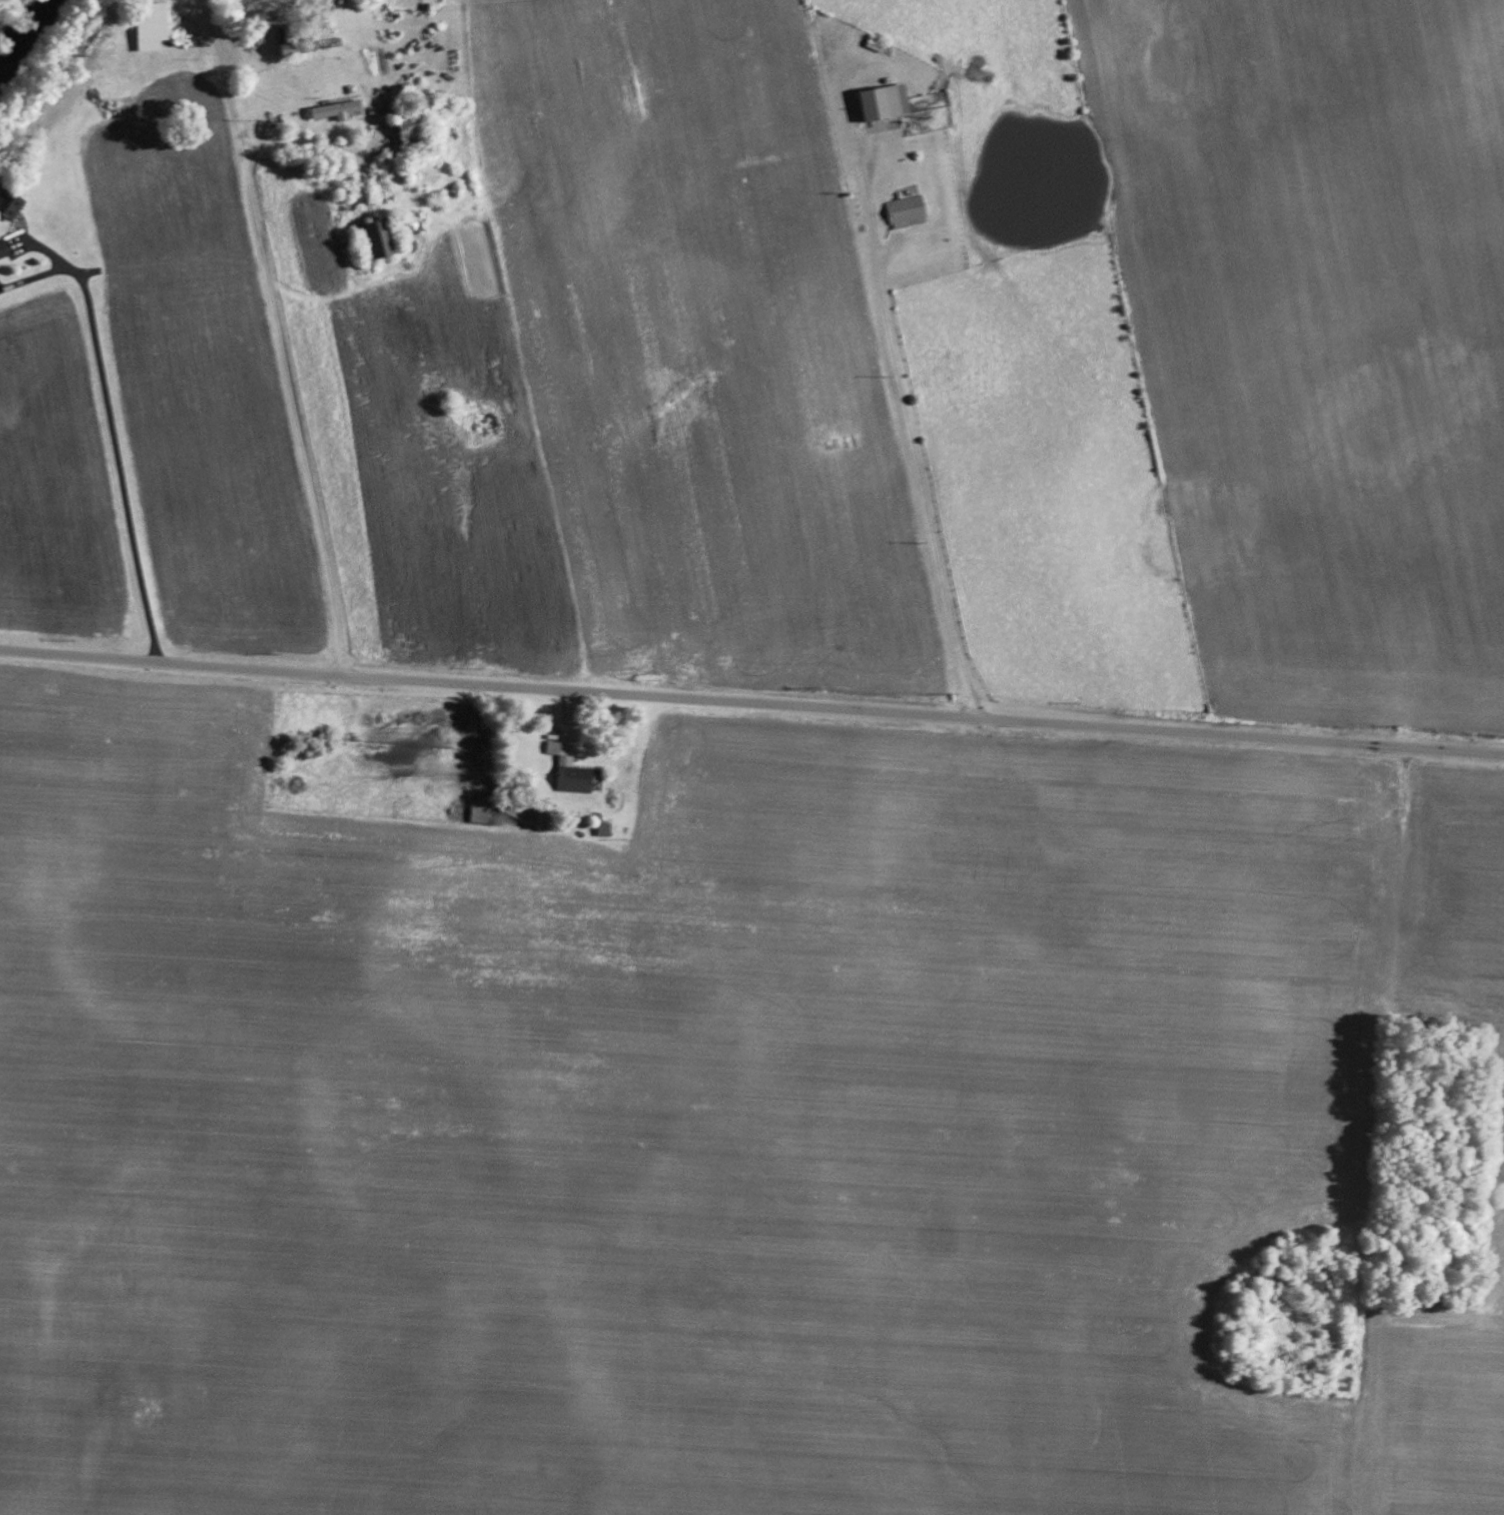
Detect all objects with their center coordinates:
river: (19, 22)
building: (150, 25)
building: (883, 102)
building: (335, 109)
building: (11, 207)
building: (905, 210)
building: (375, 239)
building: (3, 252)
road: (272, 377)
road: (751, 704)
building: (553, 747)
building: (574, 776)
building: (478, 814)
building: (603, 829)

